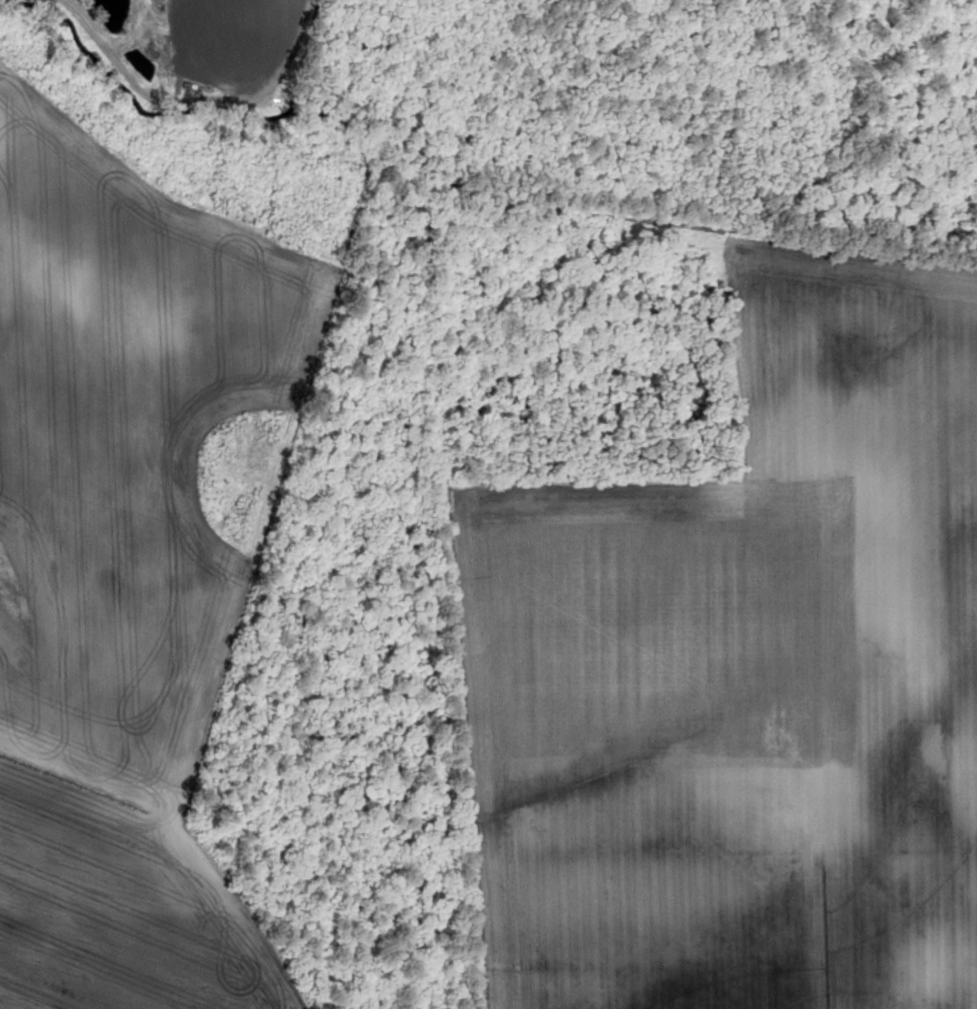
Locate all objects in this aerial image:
road: (454, 749)

